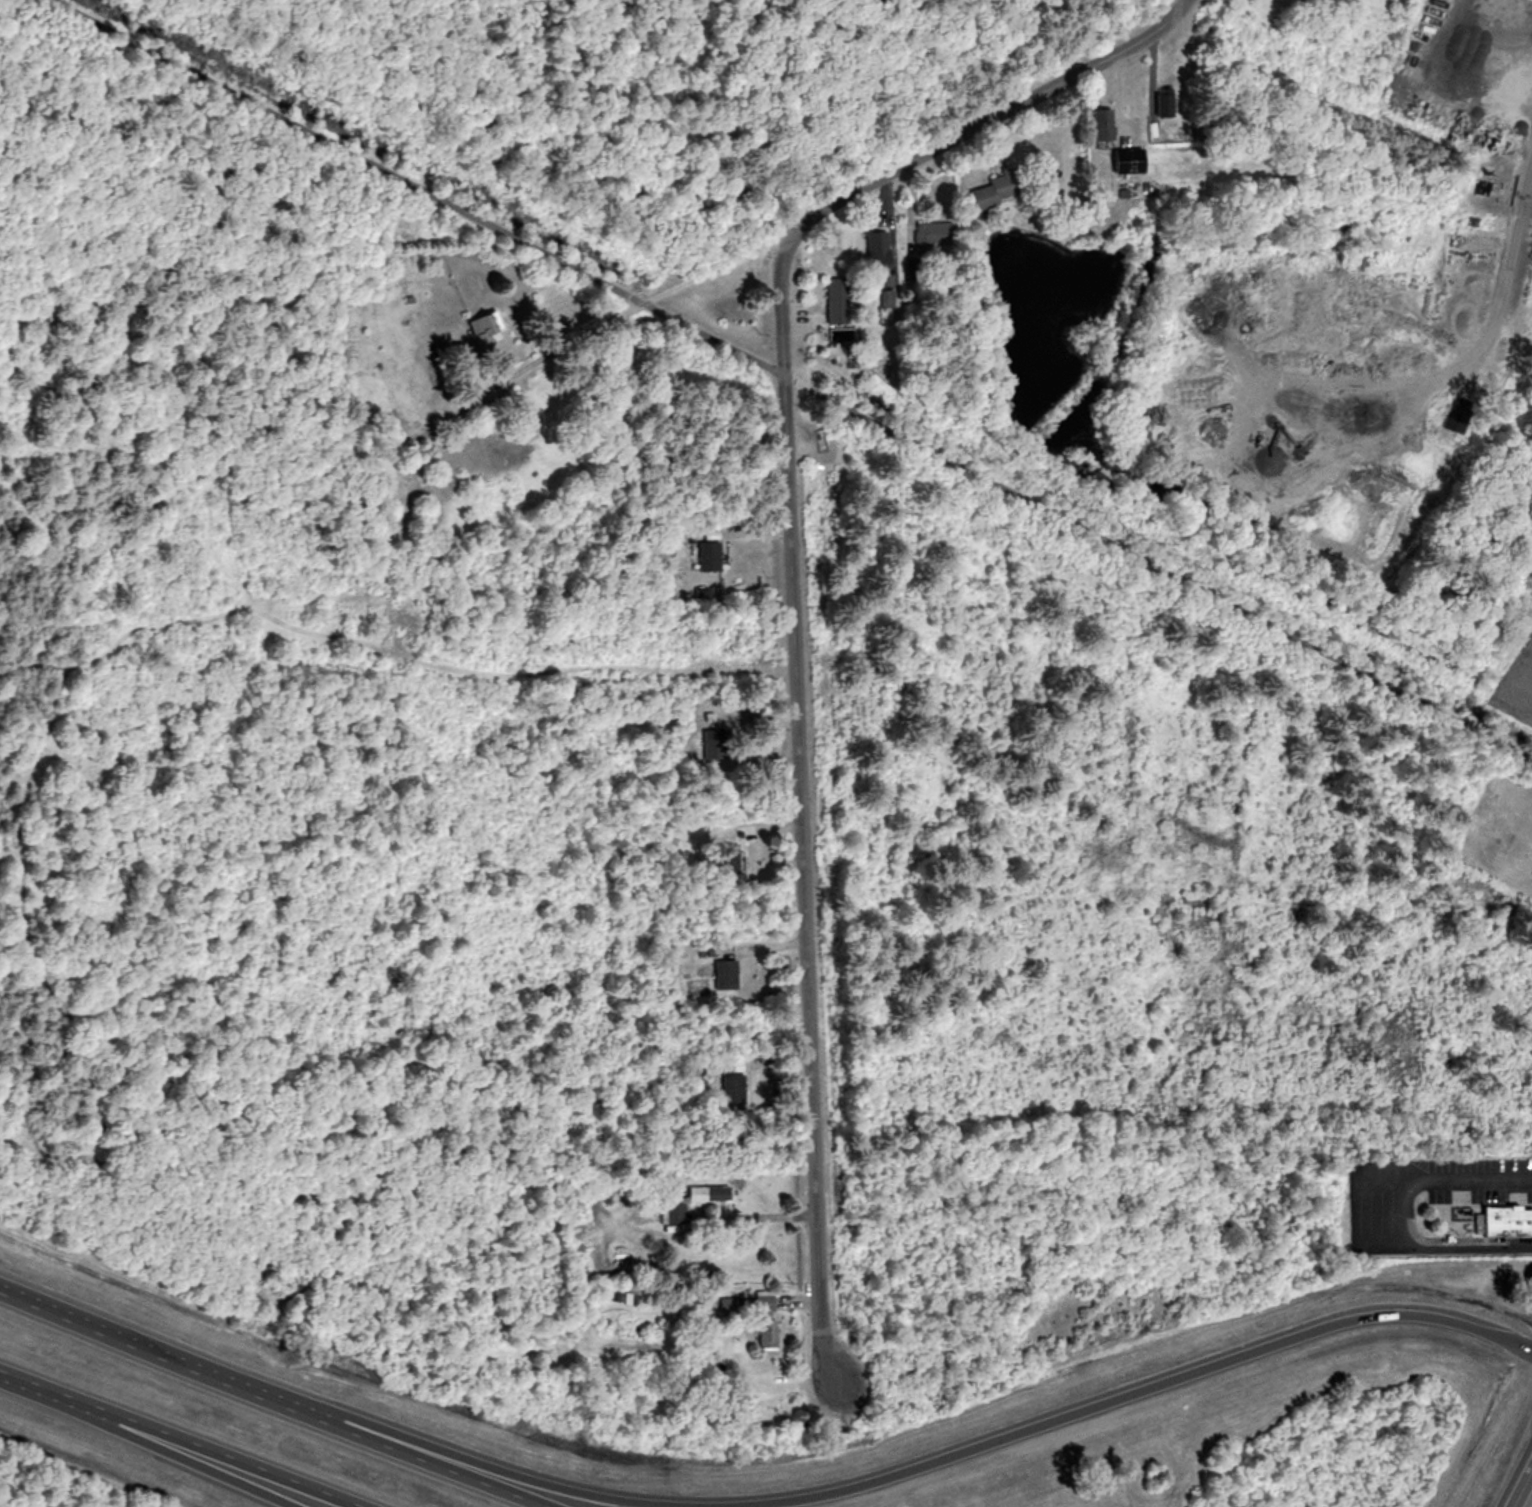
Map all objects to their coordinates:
building: (1468, 49)
building: (1107, 124)
building: (1131, 162)
building: (998, 189)
building: (936, 232)
building: (879, 249)
building: (839, 303)
road: (639, 304)
building: (491, 327)
road: (791, 379)
building: (712, 556)
road: (791, 594)
building: (717, 744)
building: (730, 858)
building: (728, 967)
building: (734, 1088)
building: (710, 1194)
building: (686, 1214)
road: (1398, 1217)
building: (1510, 1223)
building: (768, 1302)
building: (771, 1334)
road: (271, 1394)
road: (177, 1440)
road: (980, 1445)
road: (198, 1459)
road: (1515, 1474)

